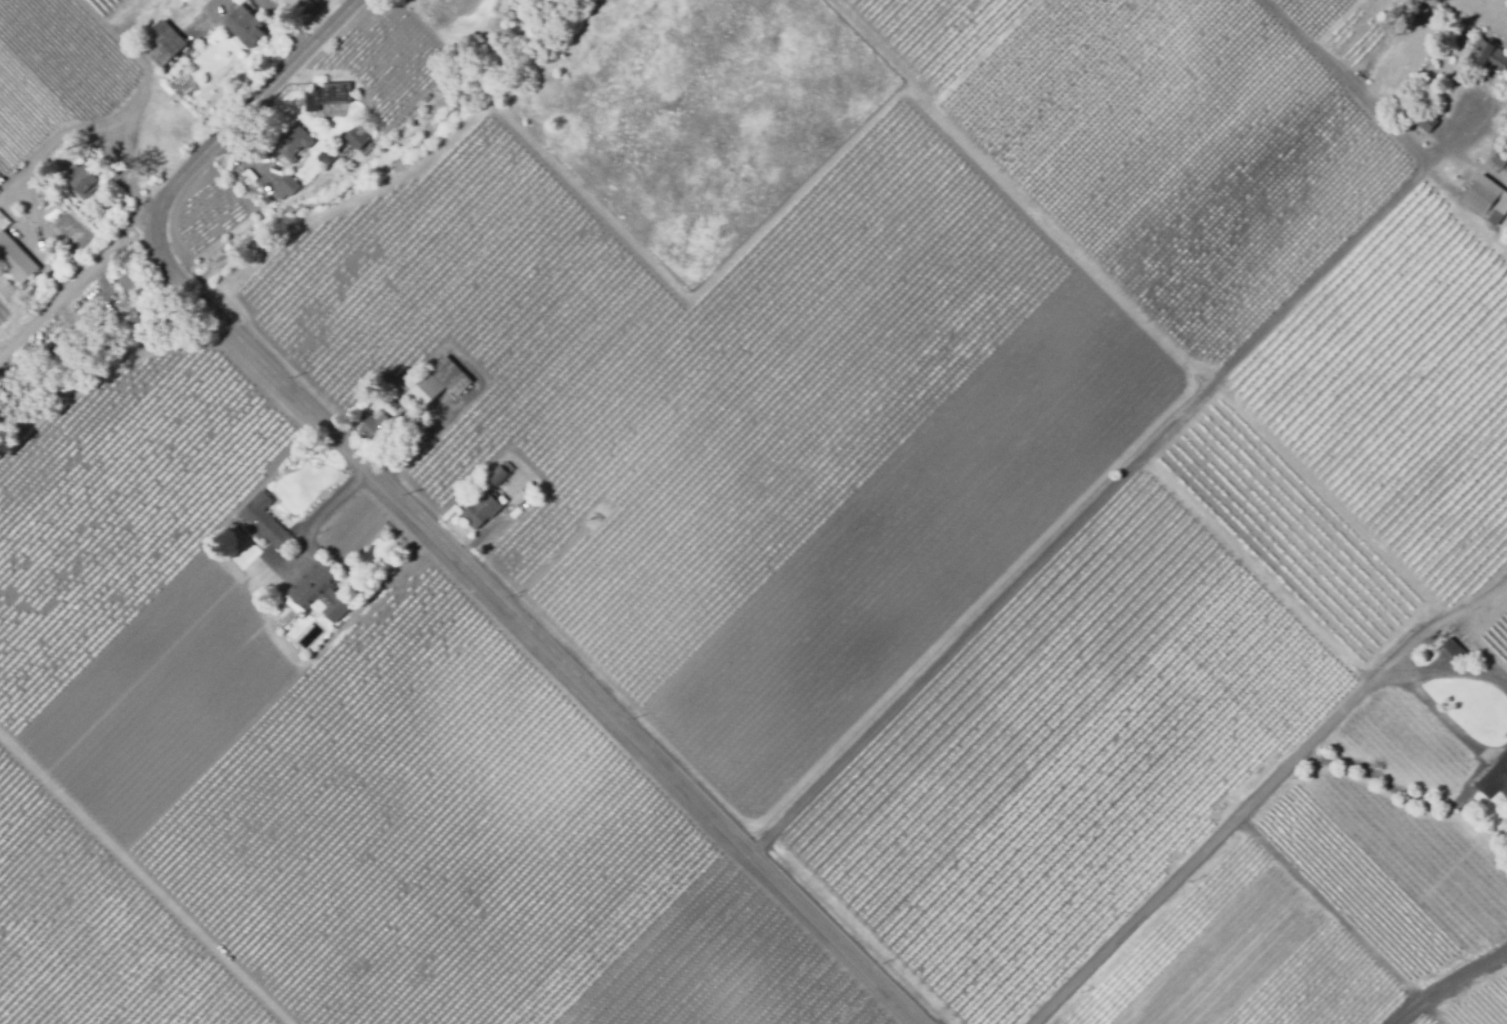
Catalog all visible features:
building: (244, 27)
building: (161, 45)
building: (1490, 54)
road: (1348, 84)
building: (323, 94)
building: (1427, 120)
building: (353, 137)
building: (291, 142)
building: (1500, 157)
building: (325, 158)
building: (80, 180)
building: (284, 189)
building: (1487, 199)
building: (266, 202)
building: (68, 256)
building: (14, 257)
road: (76, 284)
building: (93, 315)
building: (67, 337)
building: (436, 385)
building: (384, 430)
building: (496, 476)
road: (1118, 484)
building: (512, 505)
building: (479, 512)
road: (423, 522)
building: (264, 523)
building: (266, 554)
building: (318, 593)
building: (290, 606)
building: (1453, 648)
building: (1494, 777)
road: (1266, 794)
road: (1499, 808)
road: (1448, 987)

